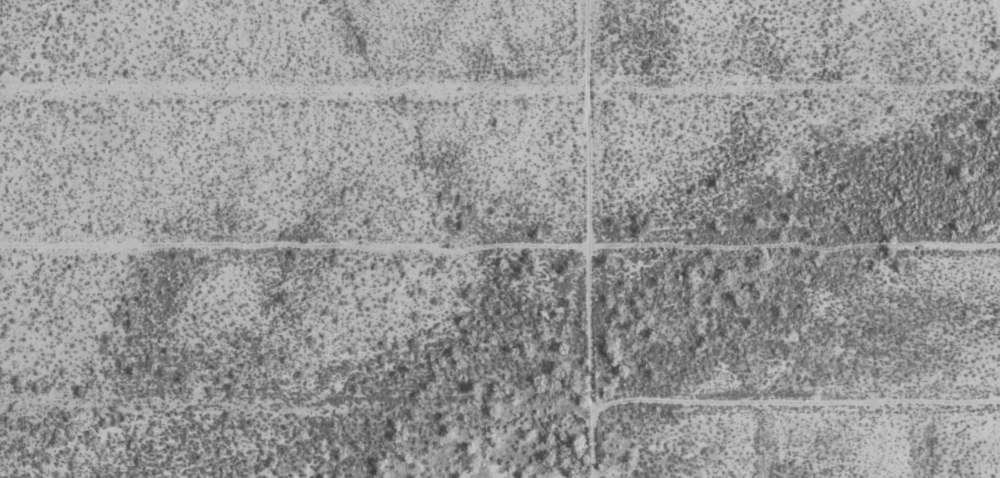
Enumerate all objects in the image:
road: (998, 4)
road: (500, 88)
road: (590, 201)
road: (515, 235)
road: (499, 244)
road: (500, 403)
road: (921, 439)
road: (766, 440)

